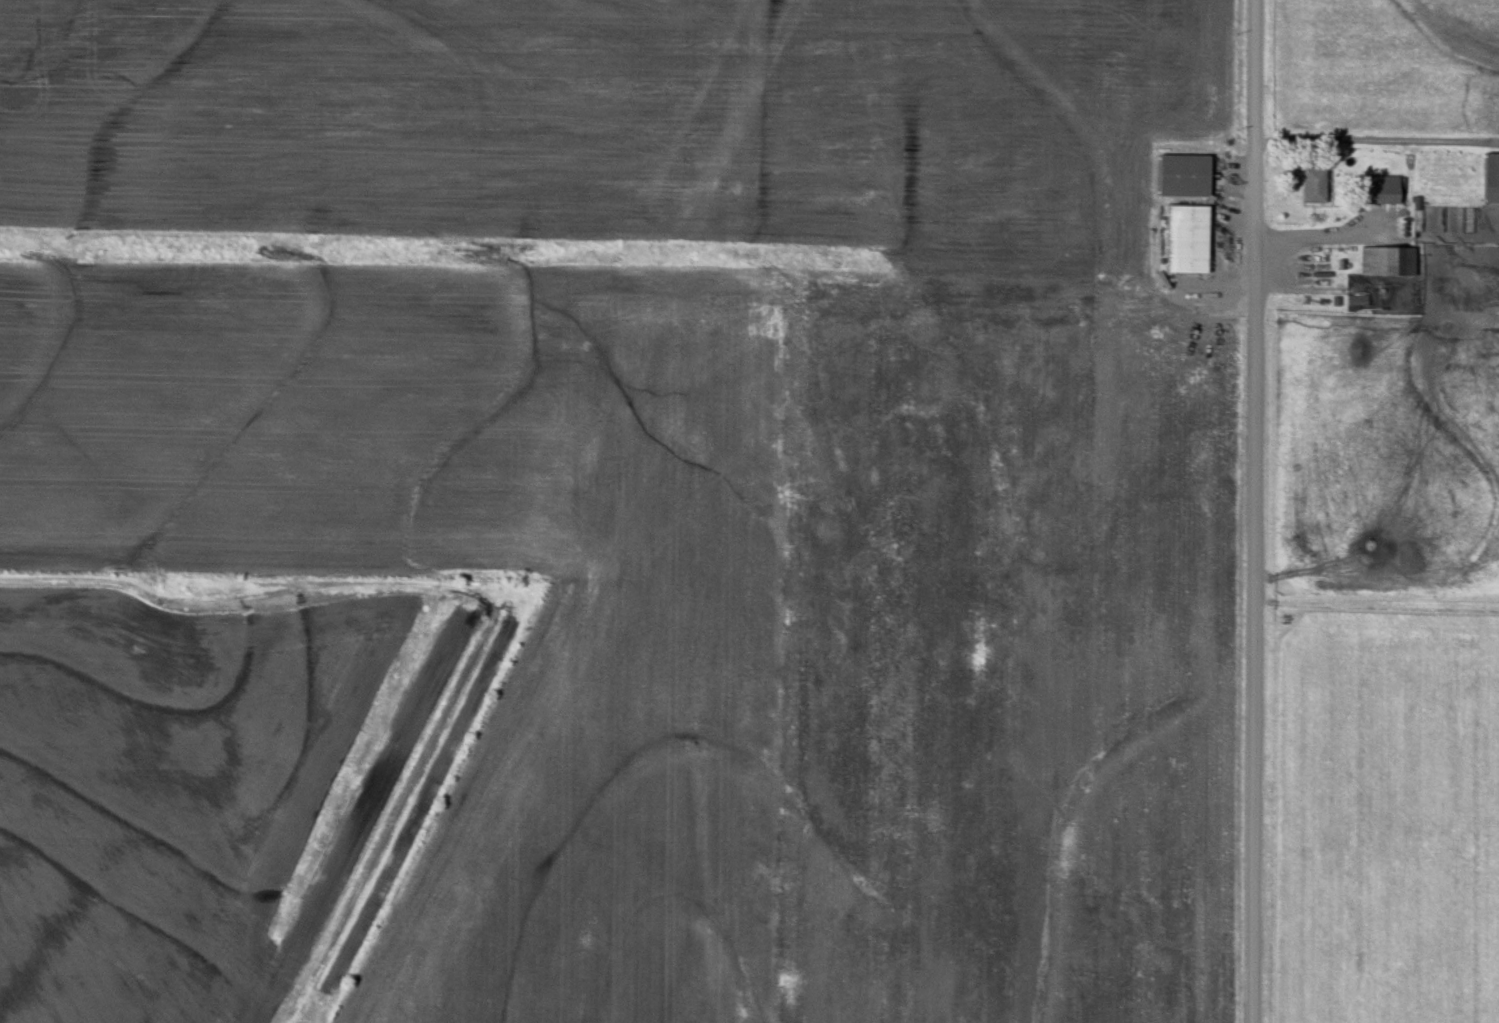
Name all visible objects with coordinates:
building: (1184, 176)
building: (1491, 179)
building: (1314, 186)
building: (1382, 191)
building: (1186, 241)
building: (1388, 262)
crop: (693, 470)
road: (1254, 511)
crop: (1384, 809)

